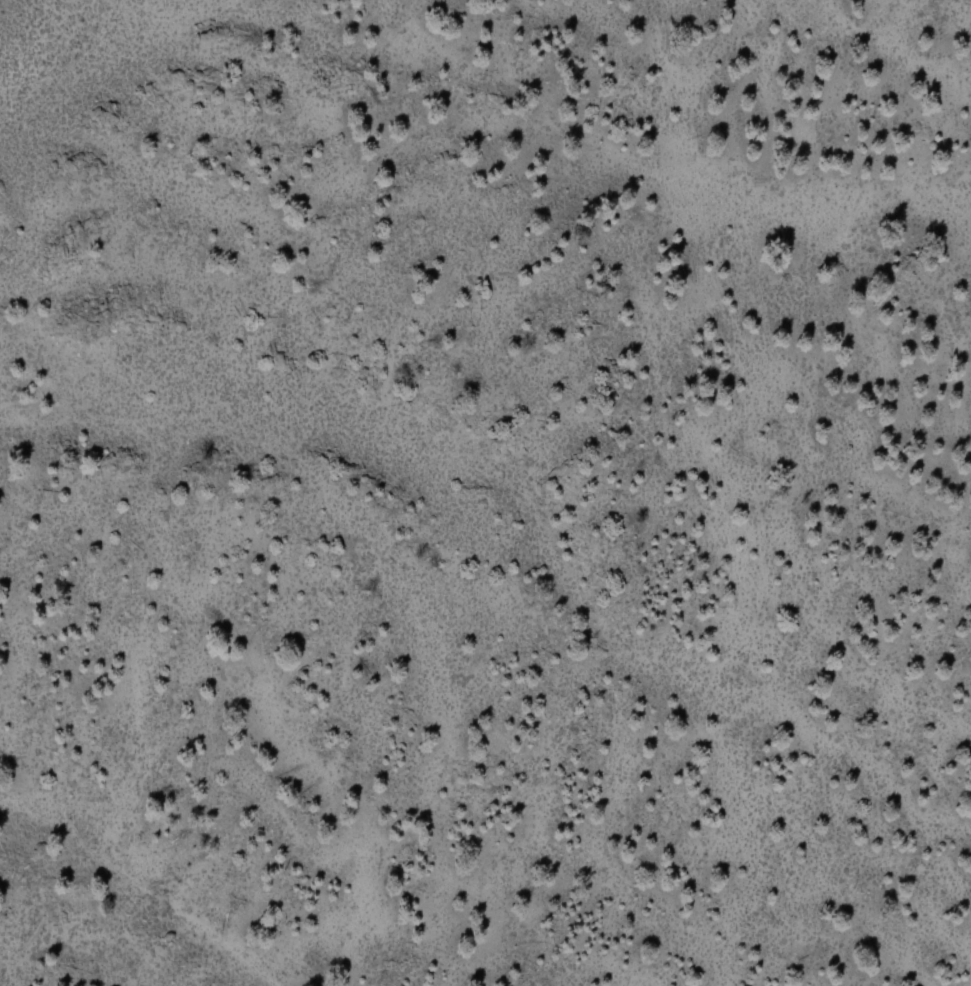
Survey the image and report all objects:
road: (146, 882)

